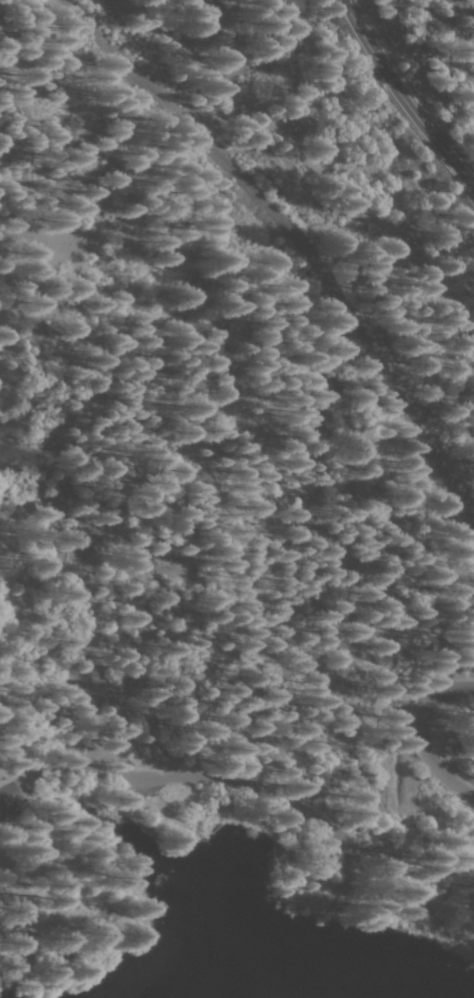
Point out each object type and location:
road: (407, 93)
road: (427, 736)
road: (247, 785)

